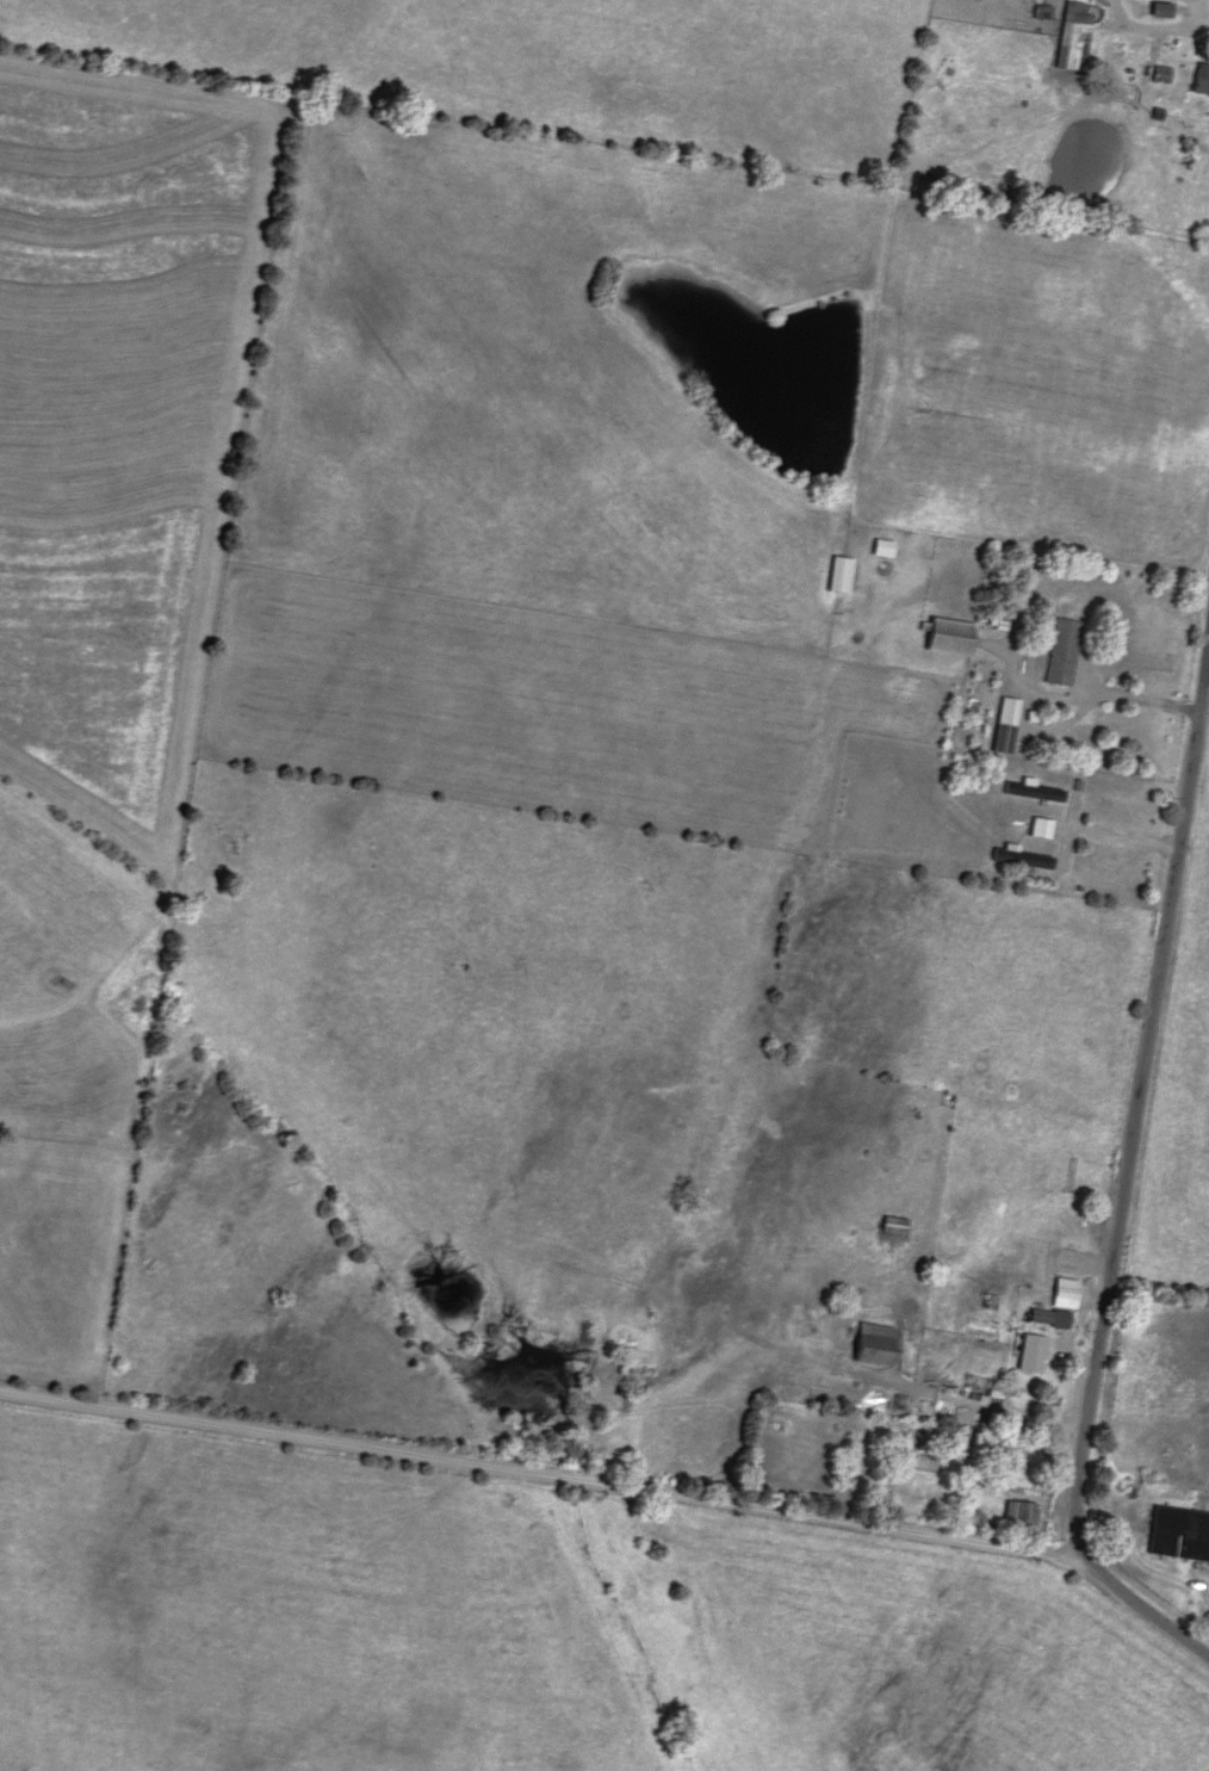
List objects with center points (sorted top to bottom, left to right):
building: (1162, 11)
building: (1074, 47)
building: (1202, 81)
building: (883, 550)
building: (841, 576)
building: (950, 638)
building: (1062, 652)
building: (1005, 724)
building: (1034, 789)
building: (1041, 826)
building: (1023, 857)
road: (1127, 1197)
building: (897, 1225)
building: (1050, 1318)
building: (876, 1343)
building: (1034, 1354)
building: (988, 1444)
road: (535, 1481)
building: (1022, 1516)
building: (1180, 1532)

